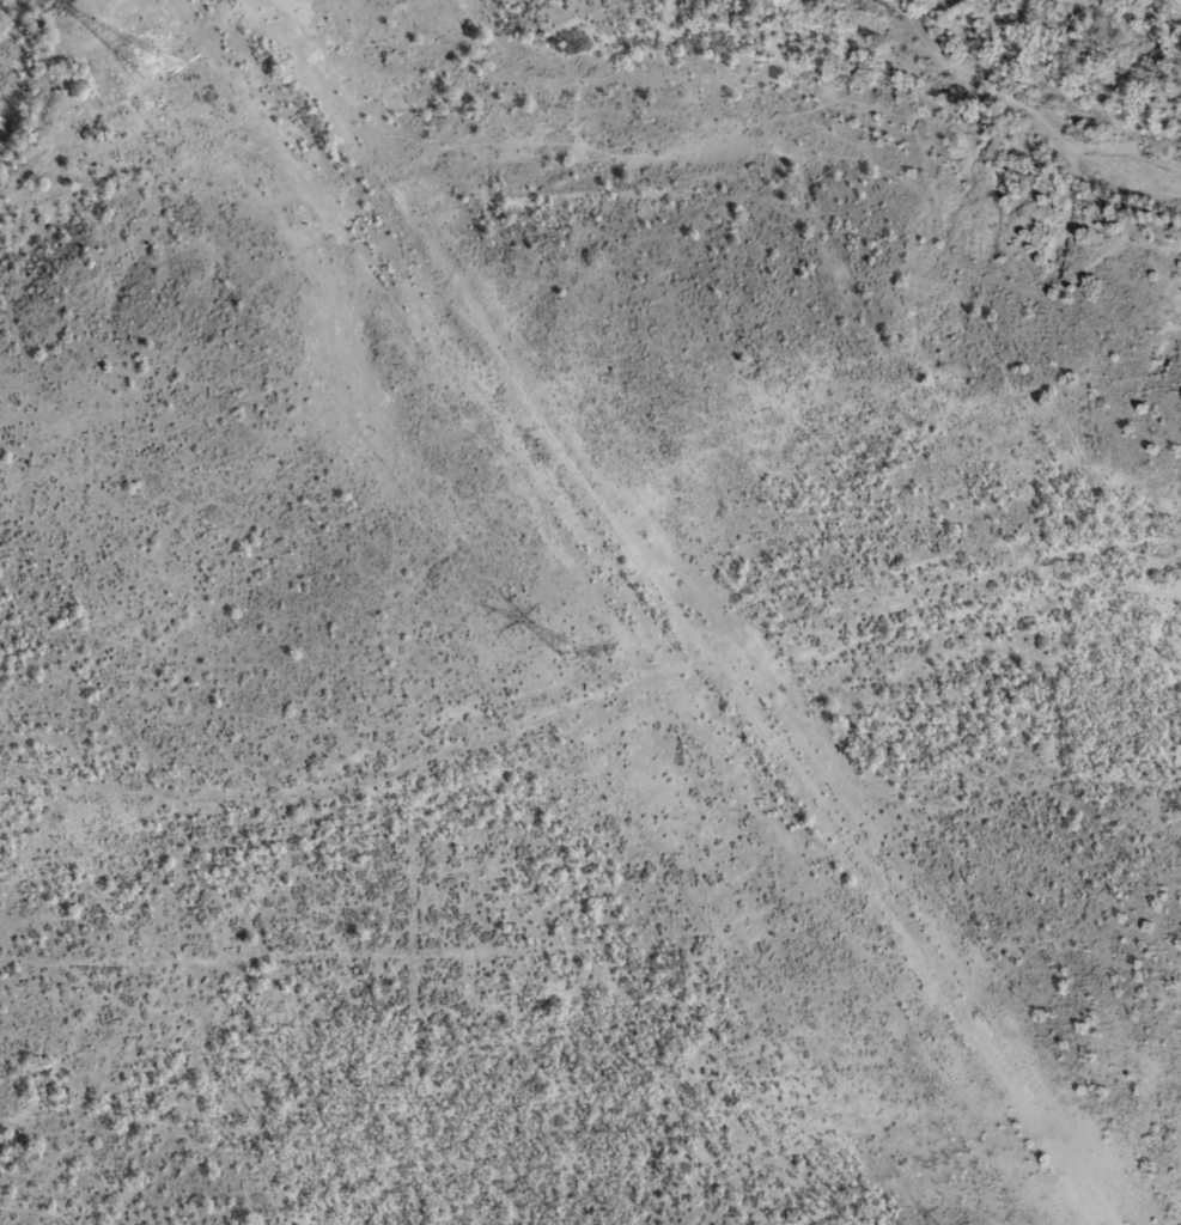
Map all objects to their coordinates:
power tower: (147, 65)
power tower: (568, 652)
road: (695, 672)

